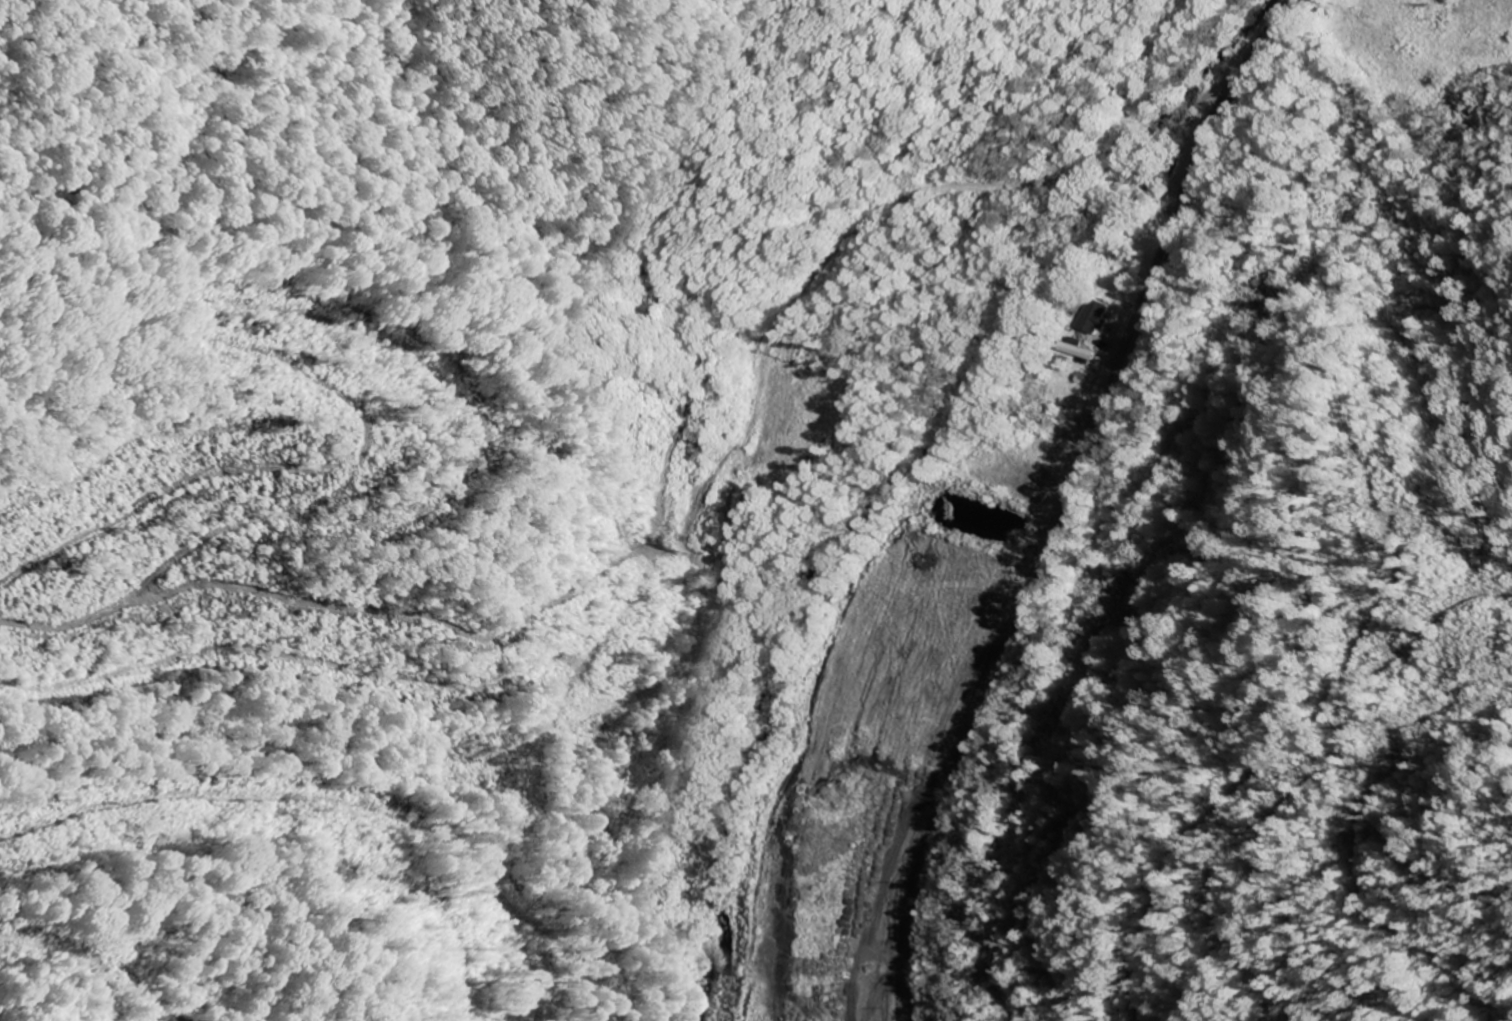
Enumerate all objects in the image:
road: (1221, 101)
building: (1094, 317)
building: (1074, 348)

